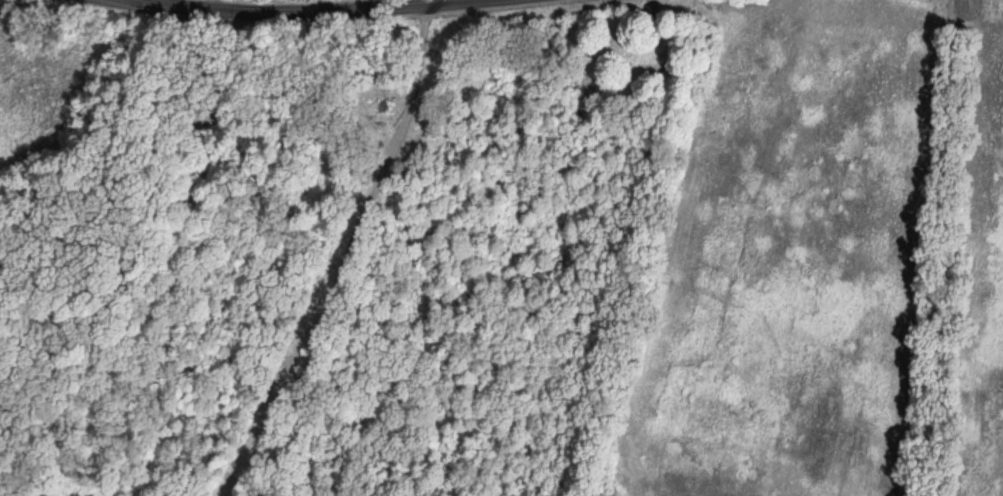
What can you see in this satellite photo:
road: (306, 15)
building: (637, 72)
building: (373, 115)
road: (366, 248)

